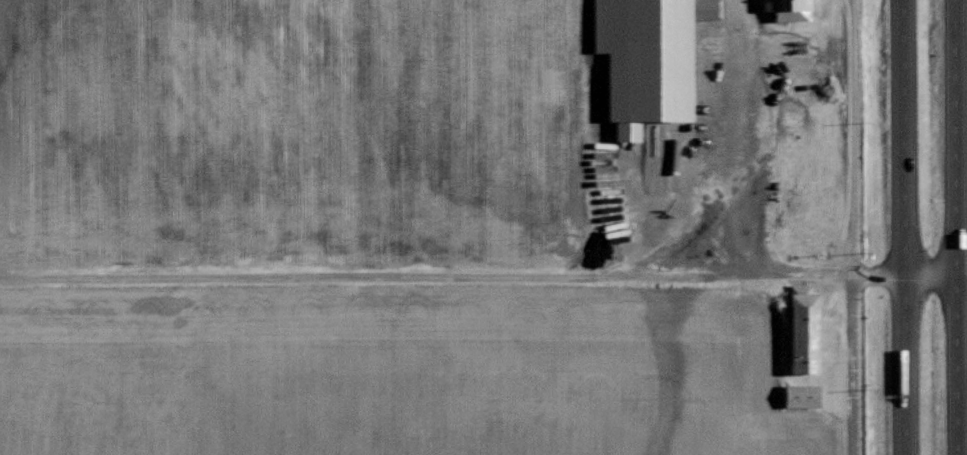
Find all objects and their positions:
building: (789, 9)
building: (650, 59)
road: (738, 75)
road: (595, 124)
parking lot: (743, 132)
road: (719, 170)
road: (850, 227)
road: (911, 227)
road: (954, 227)
road: (739, 271)
road: (314, 277)
road: (908, 279)
building: (803, 330)
building: (801, 396)

